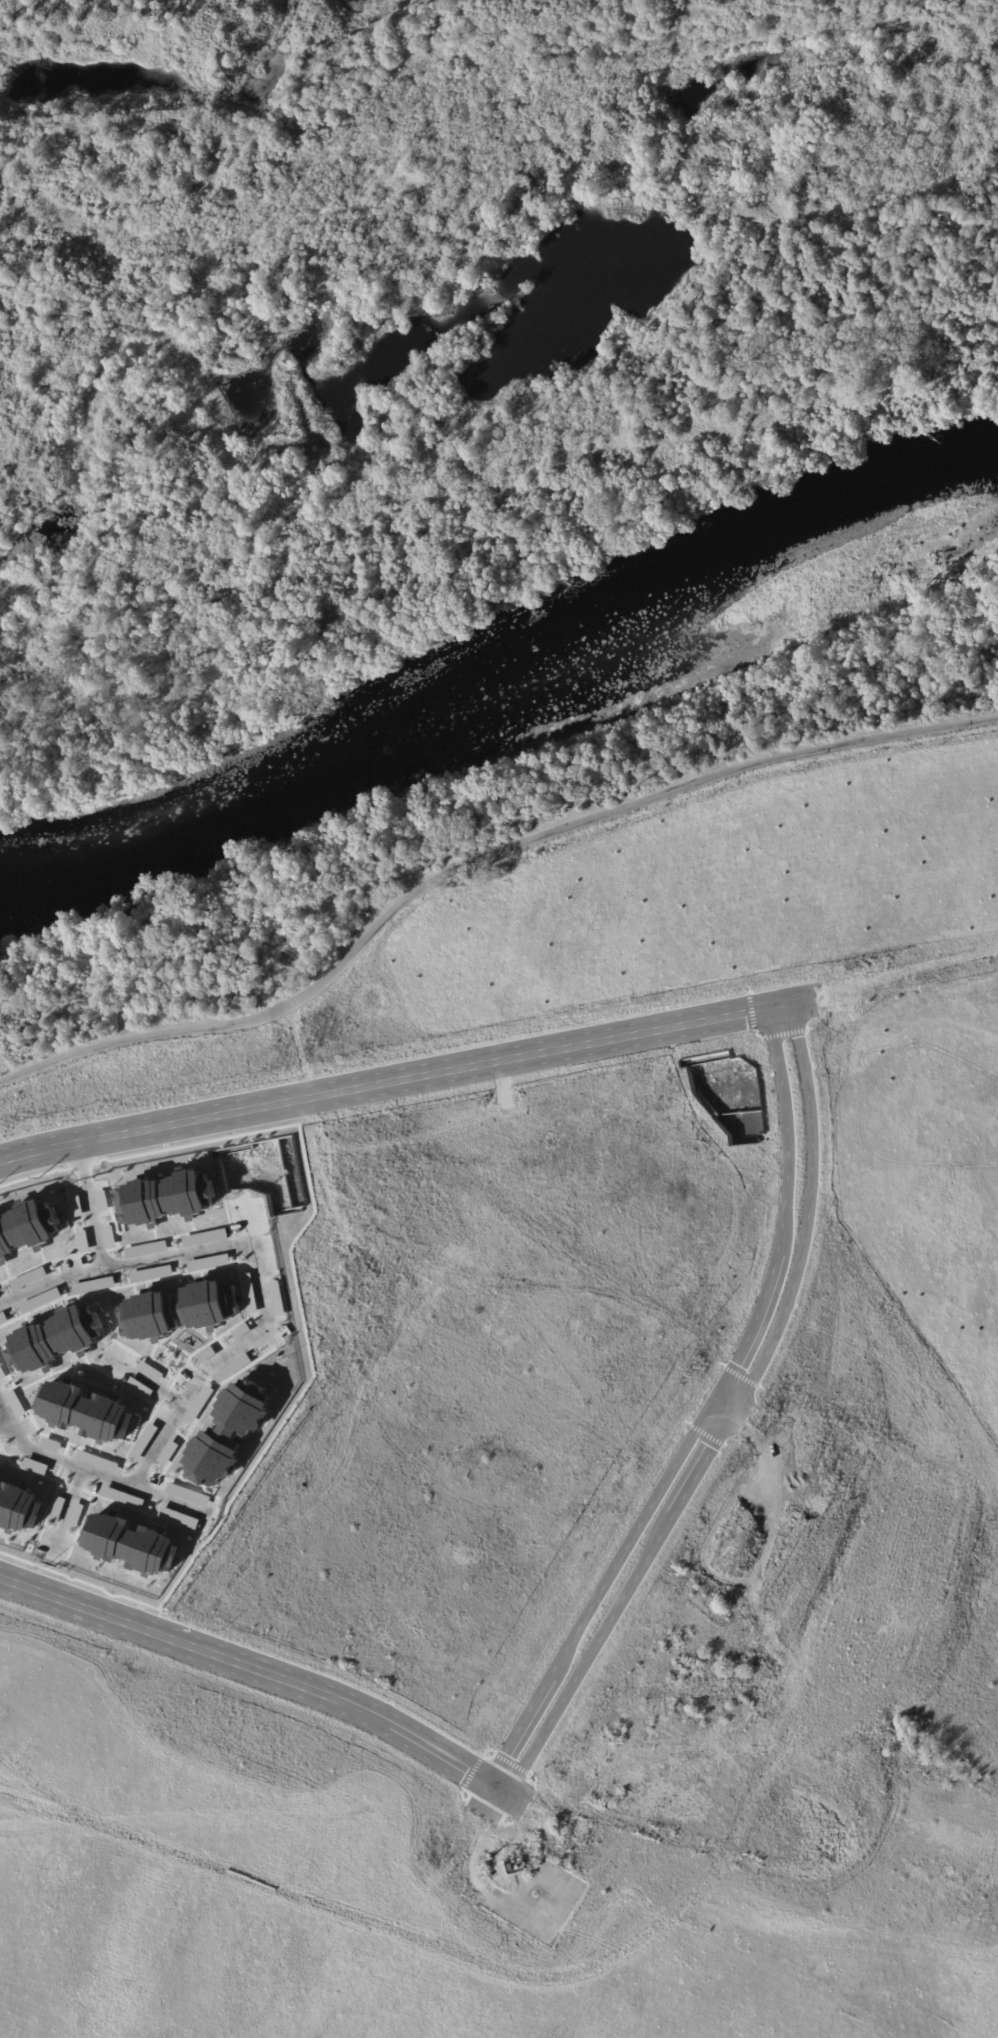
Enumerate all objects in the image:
road: (461, 171)
road: (504, 184)
river: (504, 672)
road: (480, 868)
road: (397, 1083)
road: (93, 1205)
road: (269, 1321)
road: (7, 1401)
road: (725, 1406)
road: (709, 1417)
road: (727, 1419)
road: (7, 1422)
road: (261, 1670)
building: (511, 1868)

